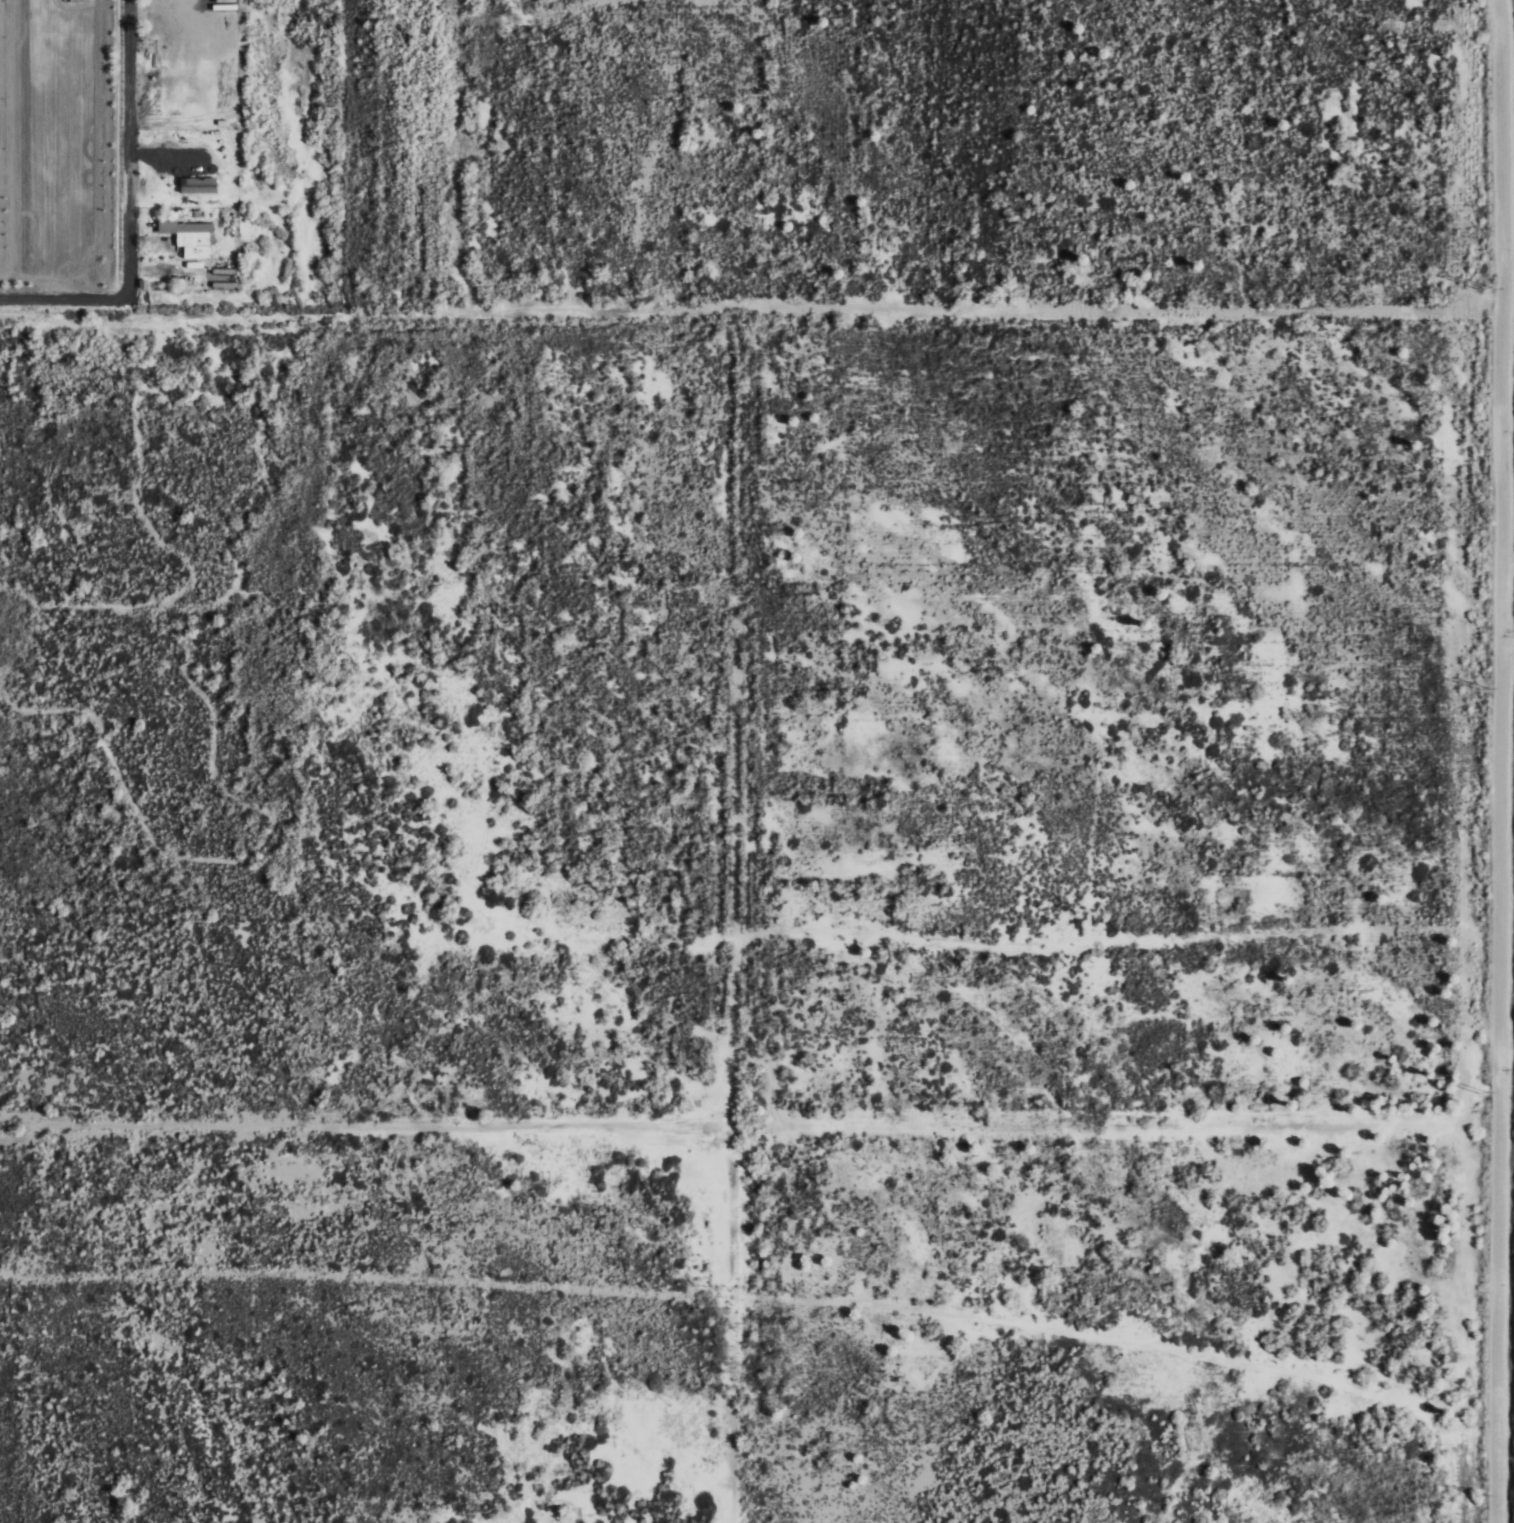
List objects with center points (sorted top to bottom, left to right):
building: (77, 0)
building: (199, 185)
building: (191, 237)
road: (127, 276)
power tower: (1490, 281)
power tower: (1488, 683)
power tower: (1489, 1091)
power tower: (1491, 1491)

